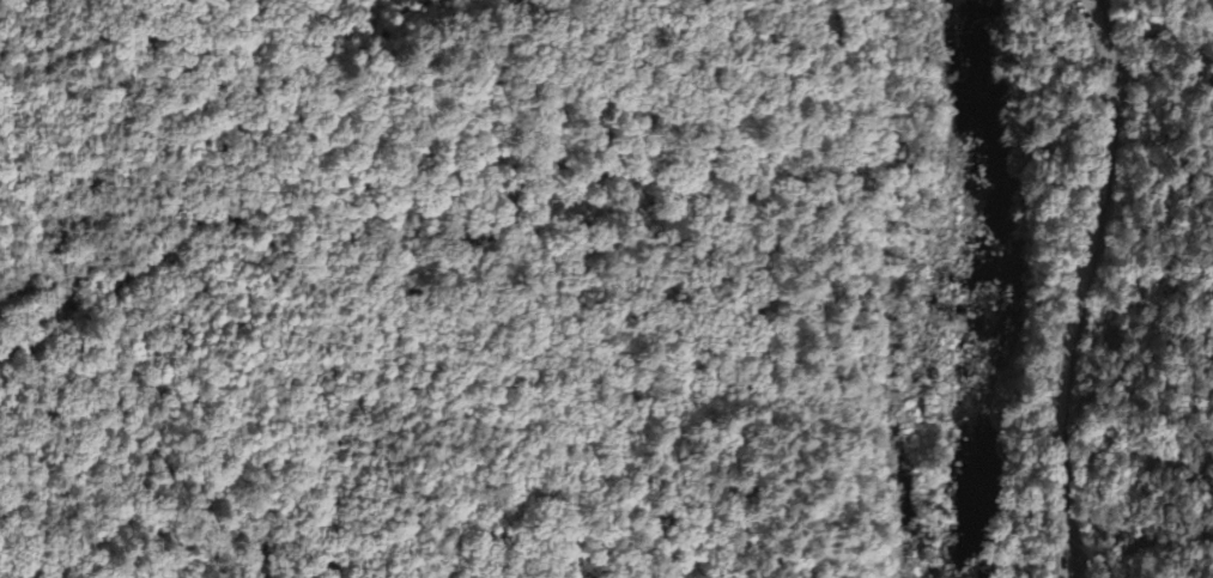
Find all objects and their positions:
road: (1085, 287)
river: (993, 290)

